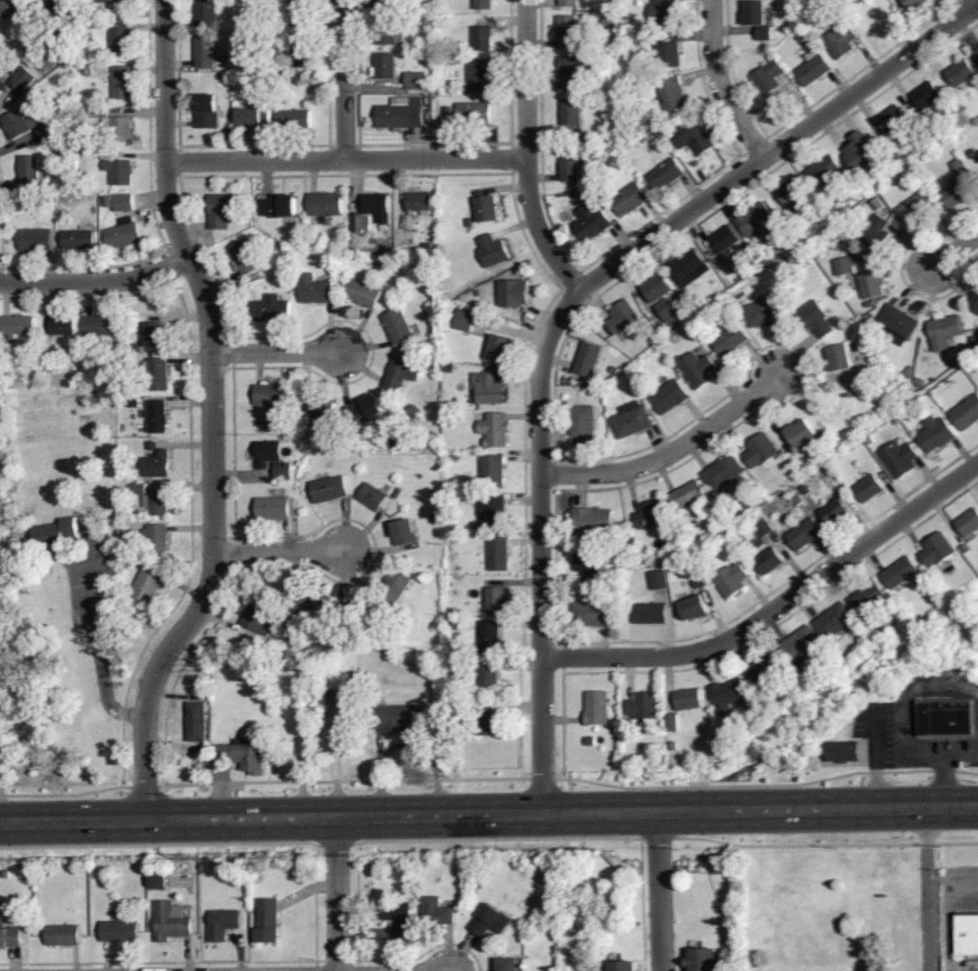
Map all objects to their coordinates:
road: (977, 0)
building: (111, 1)
building: (384, 1)
building: (835, 2)
building: (569, 3)
building: (483, 4)
building: (915, 4)
building: (64, 7)
building: (17, 8)
building: (206, 13)
building: (300, 13)
building: (663, 13)
building: (758, 20)
building: (606, 21)
building: (67, 29)
building: (389, 30)
building: (566, 32)
building: (483, 38)
building: (121, 39)
building: (645, 39)
building: (803, 39)
building: (841, 42)
building: (300, 50)
building: (205, 51)
building: (976, 52)
building: (668, 55)
building: (423, 58)
building: (603, 63)
building: (260, 64)
building: (382, 65)
building: (813, 69)
building: (570, 73)
building: (961, 73)
building: (480, 75)
building: (767, 76)
road: (345, 79)
building: (23, 80)
building: (415, 81)
building: (124, 83)
road: (722, 84)
building: (2, 86)
building: (672, 94)
building: (926, 95)
building: (605, 101)
building: (448, 111)
building: (101, 112)
building: (208, 112)
building: (571, 112)
building: (474, 114)
building: (402, 115)
building: (254, 118)
building: (892, 118)
building: (295, 120)
building: (20, 124)
building: (633, 125)
building: (119, 127)
building: (48, 130)
building: (107, 138)
building: (643, 138)
building: (693, 138)
building: (221, 139)
building: (933, 140)
road: (779, 147)
road: (528, 152)
building: (863, 152)
building: (975, 153)
building: (896, 156)
road: (347, 158)
building: (570, 165)
building: (960, 168)
building: (121, 170)
building: (29, 171)
building: (824, 171)
building: (666, 174)
building: (586, 192)
building: (793, 195)
building: (956, 195)
building: (630, 199)
building: (111, 201)
building: (419, 201)
building: (124, 202)
building: (844, 202)
building: (326, 204)
building: (878, 204)
building: (280, 206)
building: (377, 207)
building: (917, 207)
building: (488, 209)
building: (221, 210)
building: (757, 219)
building: (792, 221)
building: (591, 222)
building: (360, 223)
building: (469, 223)
building: (834, 228)
building: (876, 232)
building: (125, 235)
building: (725, 239)
building: (37, 240)
building: (78, 240)
building: (493, 251)
road: (955, 251)
building: (245, 258)
building: (844, 266)
building: (689, 268)
road: (97, 280)
building: (873, 284)
building: (659, 288)
building: (316, 290)
building: (363, 293)
building: (479, 293)
building: (517, 293)
building: (790, 293)
building: (974, 302)
building: (871, 304)
building: (271, 309)
building: (670, 311)
building: (766, 312)
building: (623, 317)
building: (816, 319)
building: (463, 321)
building: (101, 325)
building: (64, 326)
building: (398, 326)
building: (896, 326)
building: (17, 327)
building: (691, 331)
building: (945, 331)
building: (662, 332)
building: (154, 334)
building: (654, 338)
building: (425, 340)
building: (730, 340)
building: (975, 341)
building: (136, 347)
building: (858, 347)
building: (501, 348)
road: (277, 351)
building: (840, 357)
building: (49, 358)
building: (588, 359)
building: (448, 367)
building: (697, 369)
building: (911, 369)
building: (615, 370)
building: (401, 373)
building: (157, 374)
building: (909, 375)
building: (919, 384)
building: (489, 387)
building: (271, 395)
building: (670, 397)
building: (134, 403)
building: (363, 410)
building: (322, 412)
building: (416, 412)
building: (966, 414)
building: (158, 416)
road: (212, 417)
building: (907, 417)
building: (632, 420)
building: (896, 421)
building: (584, 424)
building: (496, 429)
building: (801, 433)
building: (936, 434)
building: (434, 437)
building: (394, 440)
building: (871, 440)
road: (671, 451)
building: (761, 451)
building: (266, 453)
building: (899, 459)
building: (455, 460)
building: (156, 462)
building: (283, 471)
building: (493, 471)
building: (723, 473)
building: (139, 489)
building: (329, 489)
building: (868, 489)
building: (805, 490)
building: (397, 494)
building: (687, 497)
building: (375, 498)
building: (798, 499)
building: (157, 503)
building: (743, 508)
building: (272, 509)
building: (492, 512)
building: (834, 512)
building: (451, 514)
building: (652, 515)
building: (436, 517)
building: (592, 520)
building: (969, 523)
building: (699, 525)
building: (760, 531)
building: (404, 533)
building: (58, 534)
building: (805, 534)
building: (623, 538)
building: (157, 540)
road: (541, 547)
building: (967, 549)
road: (283, 550)
building: (938, 550)
building: (643, 553)
building: (499, 554)
building: (768, 562)
building: (589, 564)
building: (900, 572)
building: (658, 580)
building: (731, 580)
building: (701, 583)
building: (149, 584)
building: (395, 586)
building: (868, 597)
building: (498, 599)
building: (308, 606)
building: (695, 607)
road: (777, 607)
building: (360, 610)
building: (454, 610)
building: (592, 614)
building: (652, 614)
building: (680, 616)
building: (258, 619)
building: (834, 621)
building: (456, 624)
building: (490, 637)
building: (394, 641)
building: (801, 644)
building: (277, 646)
road: (99, 653)
building: (849, 666)
building: (765, 669)
building: (489, 679)
building: (377, 689)
building: (728, 695)
building: (337, 698)
building: (688, 700)
building: (597, 708)
building: (644, 708)
building: (399, 718)
building: (486, 718)
building: (947, 718)
building: (197, 722)
building: (673, 722)
building: (750, 732)
building: (591, 741)
building: (672, 747)
building: (843, 752)
road: (926, 753)
building: (245, 756)
road: (945, 764)
road: (876, 765)
road: (489, 819)
building: (160, 882)
road: (930, 890)
road: (658, 894)
road: (335, 896)
building: (436, 911)
building: (399, 917)
road: (950, 917)
building: (267, 919)
building: (491, 919)
building: (168, 920)
building: (223, 922)
building: (119, 929)
building: (61, 933)
building: (967, 933)
building: (9, 935)
building: (702, 959)
building: (512, 963)
building: (621, 965)

